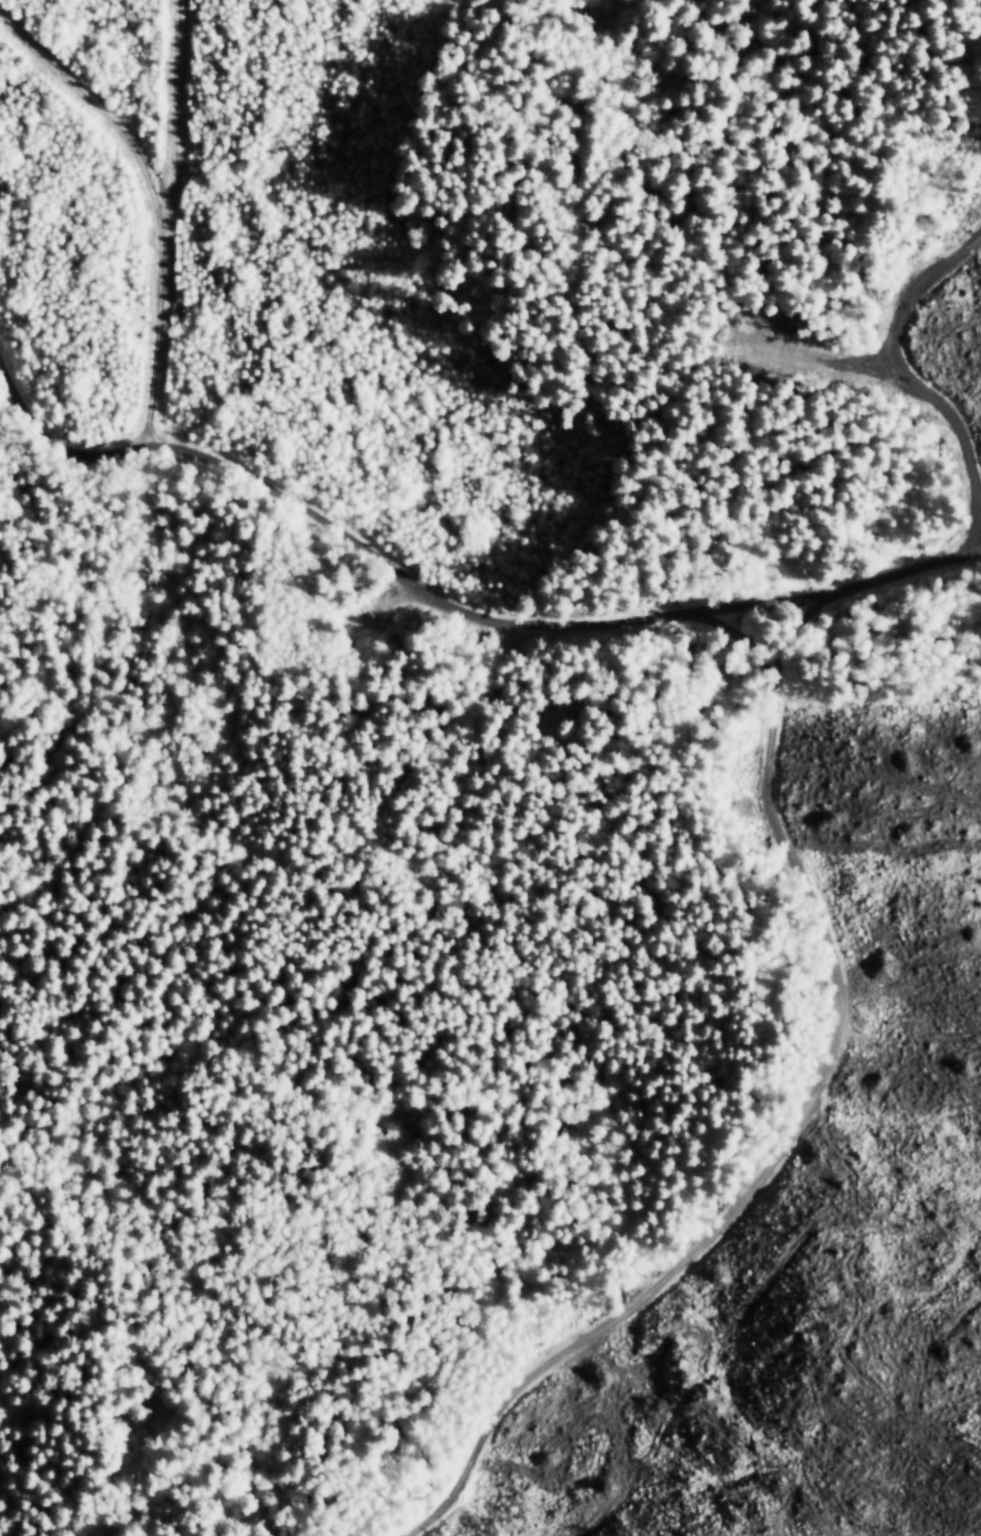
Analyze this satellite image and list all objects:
road: (98, 111)
road: (159, 218)
road: (890, 331)
road: (58, 448)
road: (885, 627)
road: (789, 843)

